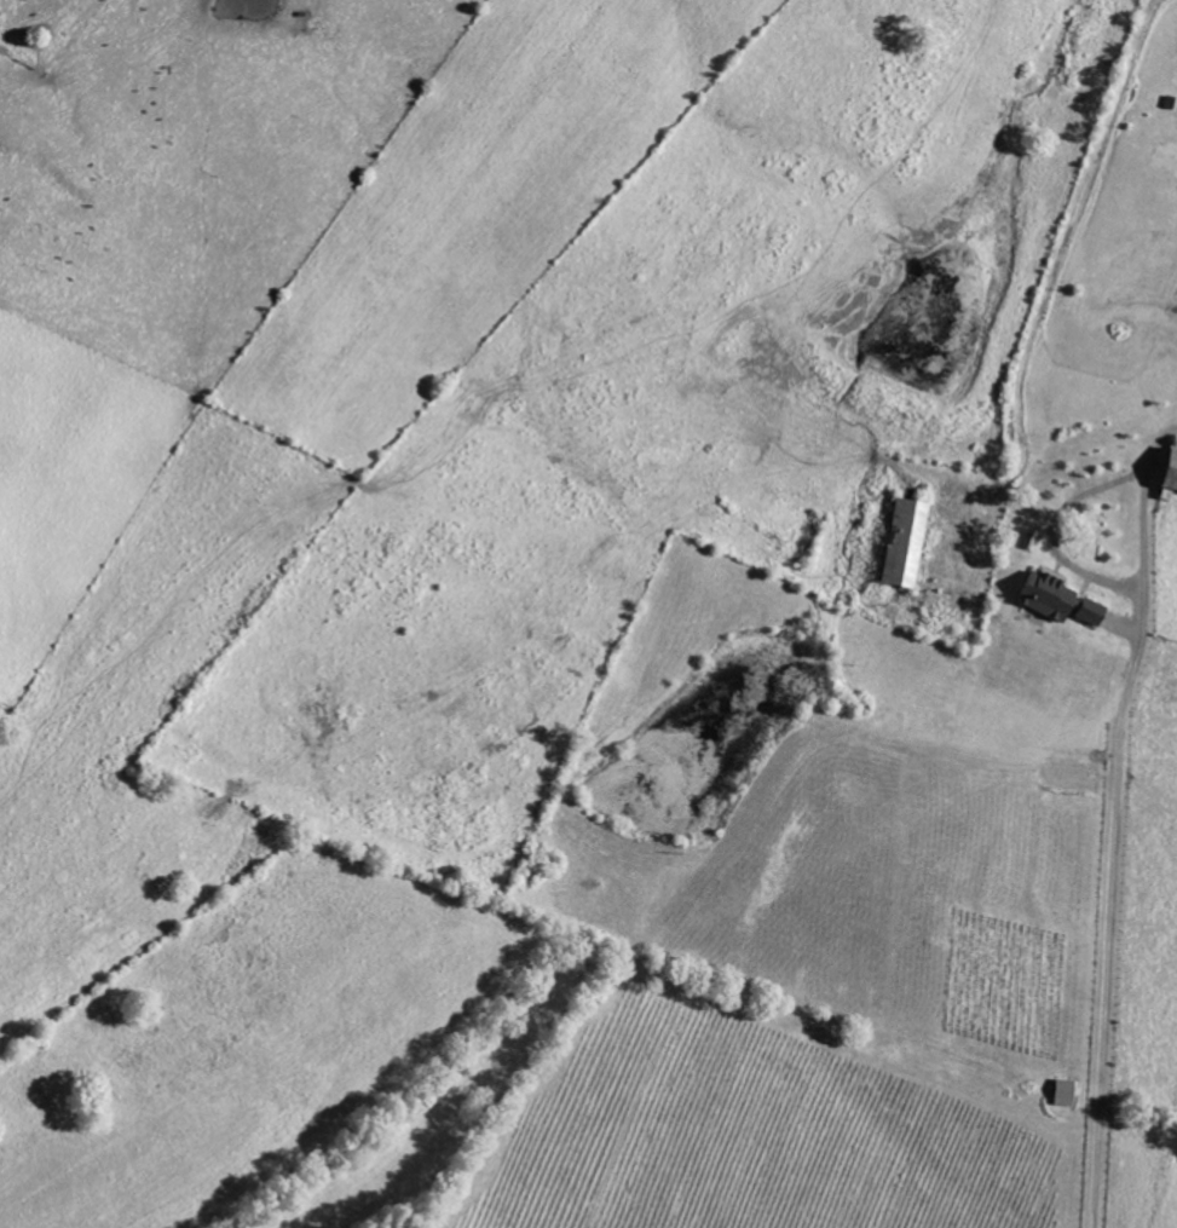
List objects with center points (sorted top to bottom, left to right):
building: (1165, 474)
road: (1052, 529)
building: (900, 543)
building: (1040, 594)
building: (1081, 610)
road: (1115, 823)

